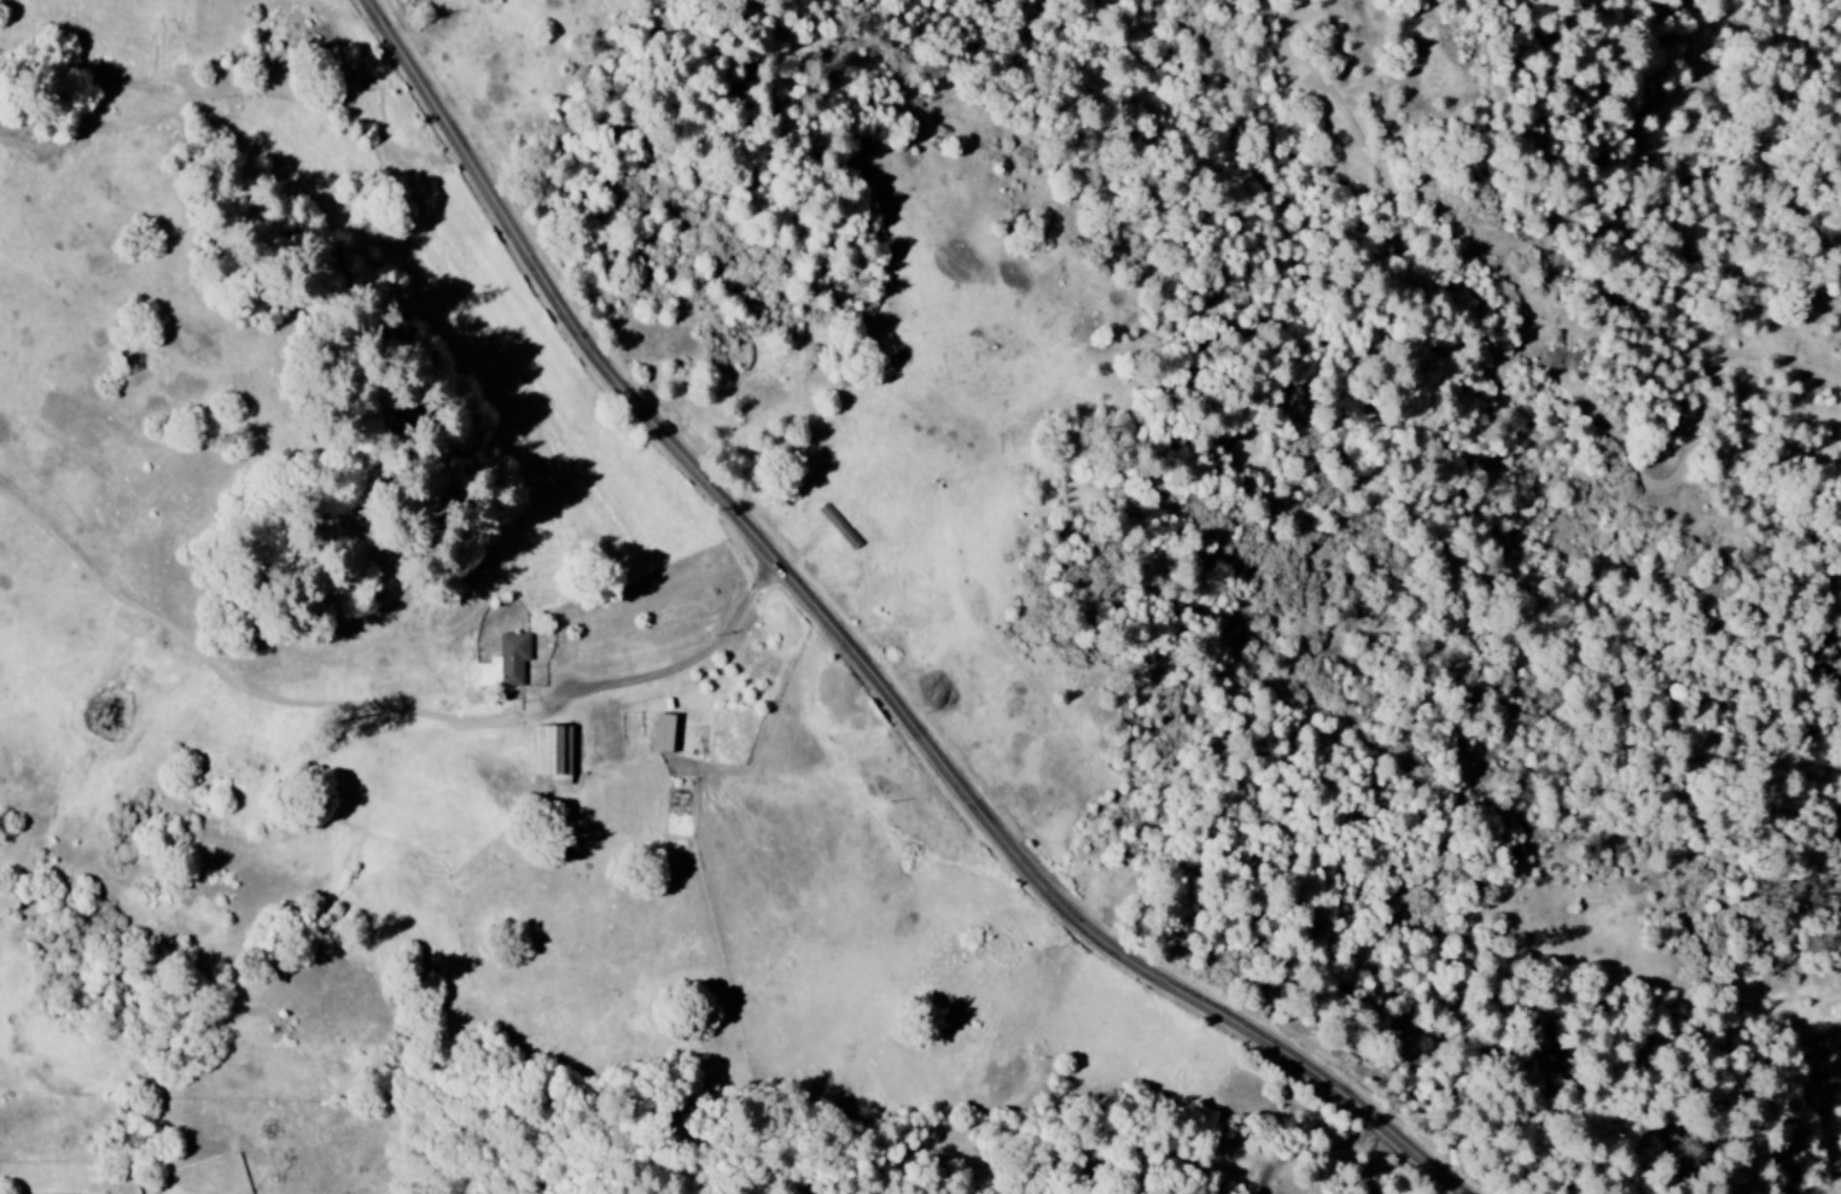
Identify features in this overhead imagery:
road: (1746, 112)
building: (837, 526)
road: (866, 653)
road: (700, 660)
building: (503, 663)
building: (662, 734)
building: (549, 753)

